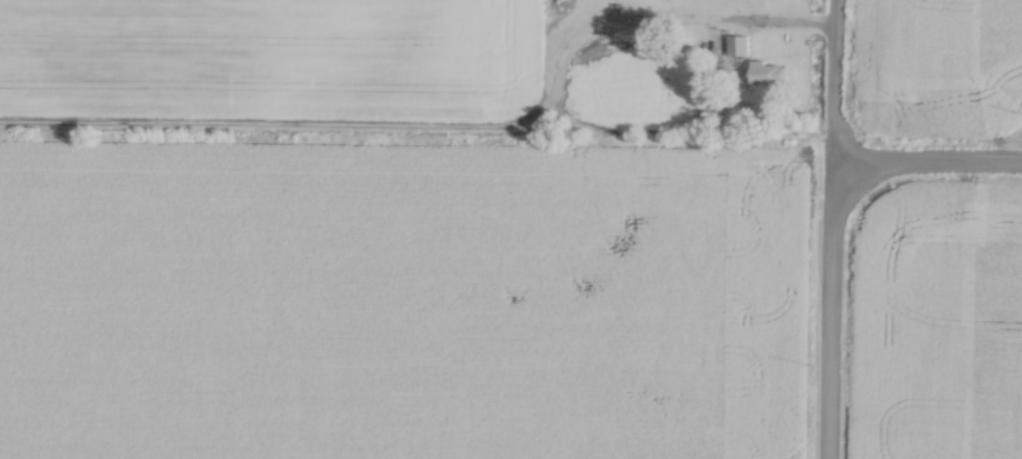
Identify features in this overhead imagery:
road: (766, 18)
building: (736, 42)
building: (767, 70)
road: (831, 81)
road: (925, 161)
road: (826, 311)

